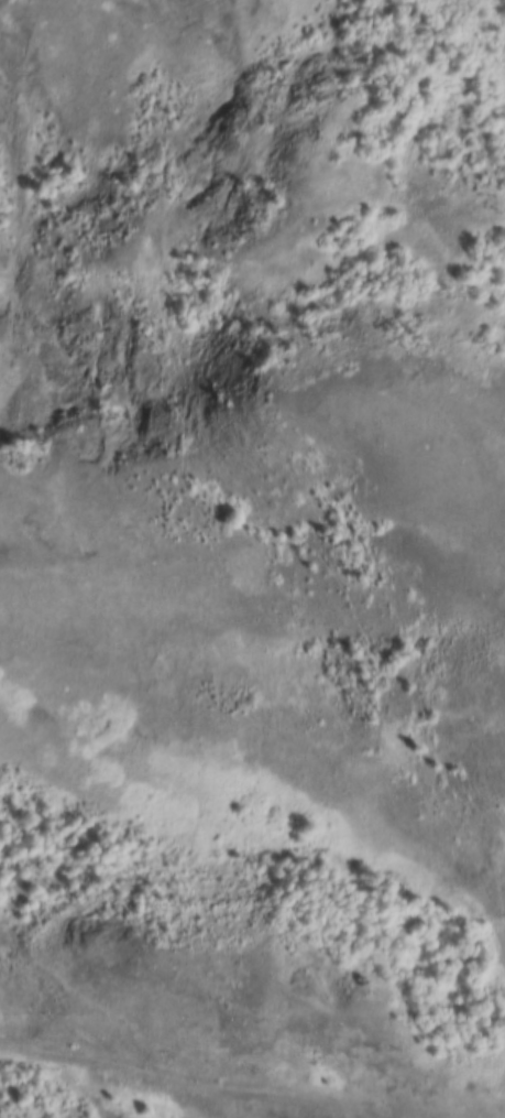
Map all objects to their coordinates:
road: (179, 1085)

